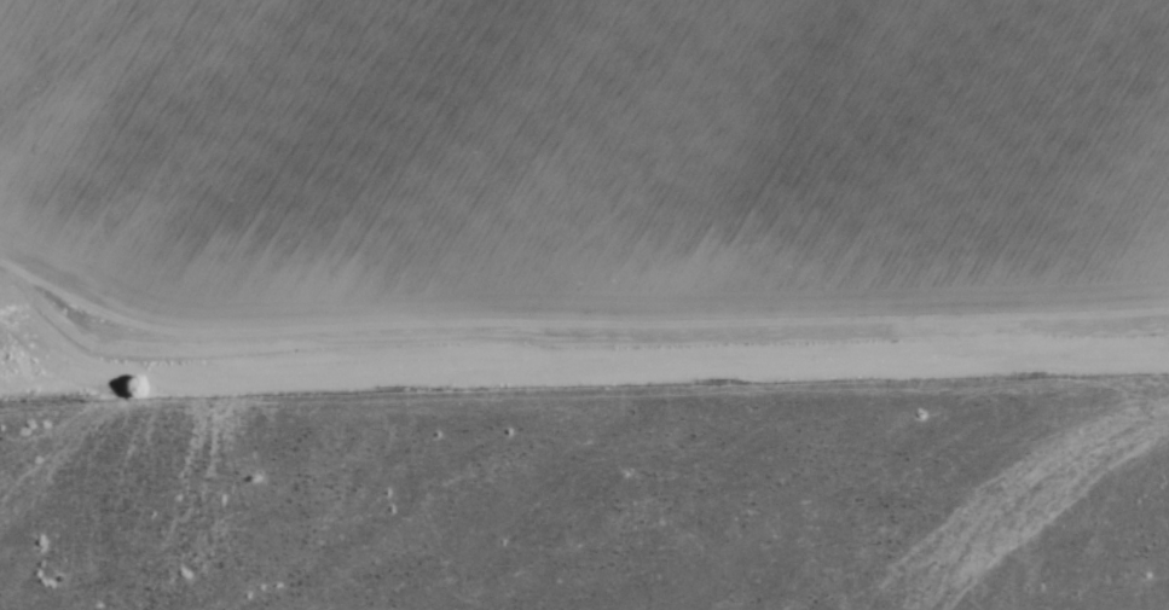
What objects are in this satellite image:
road: (561, 370)

